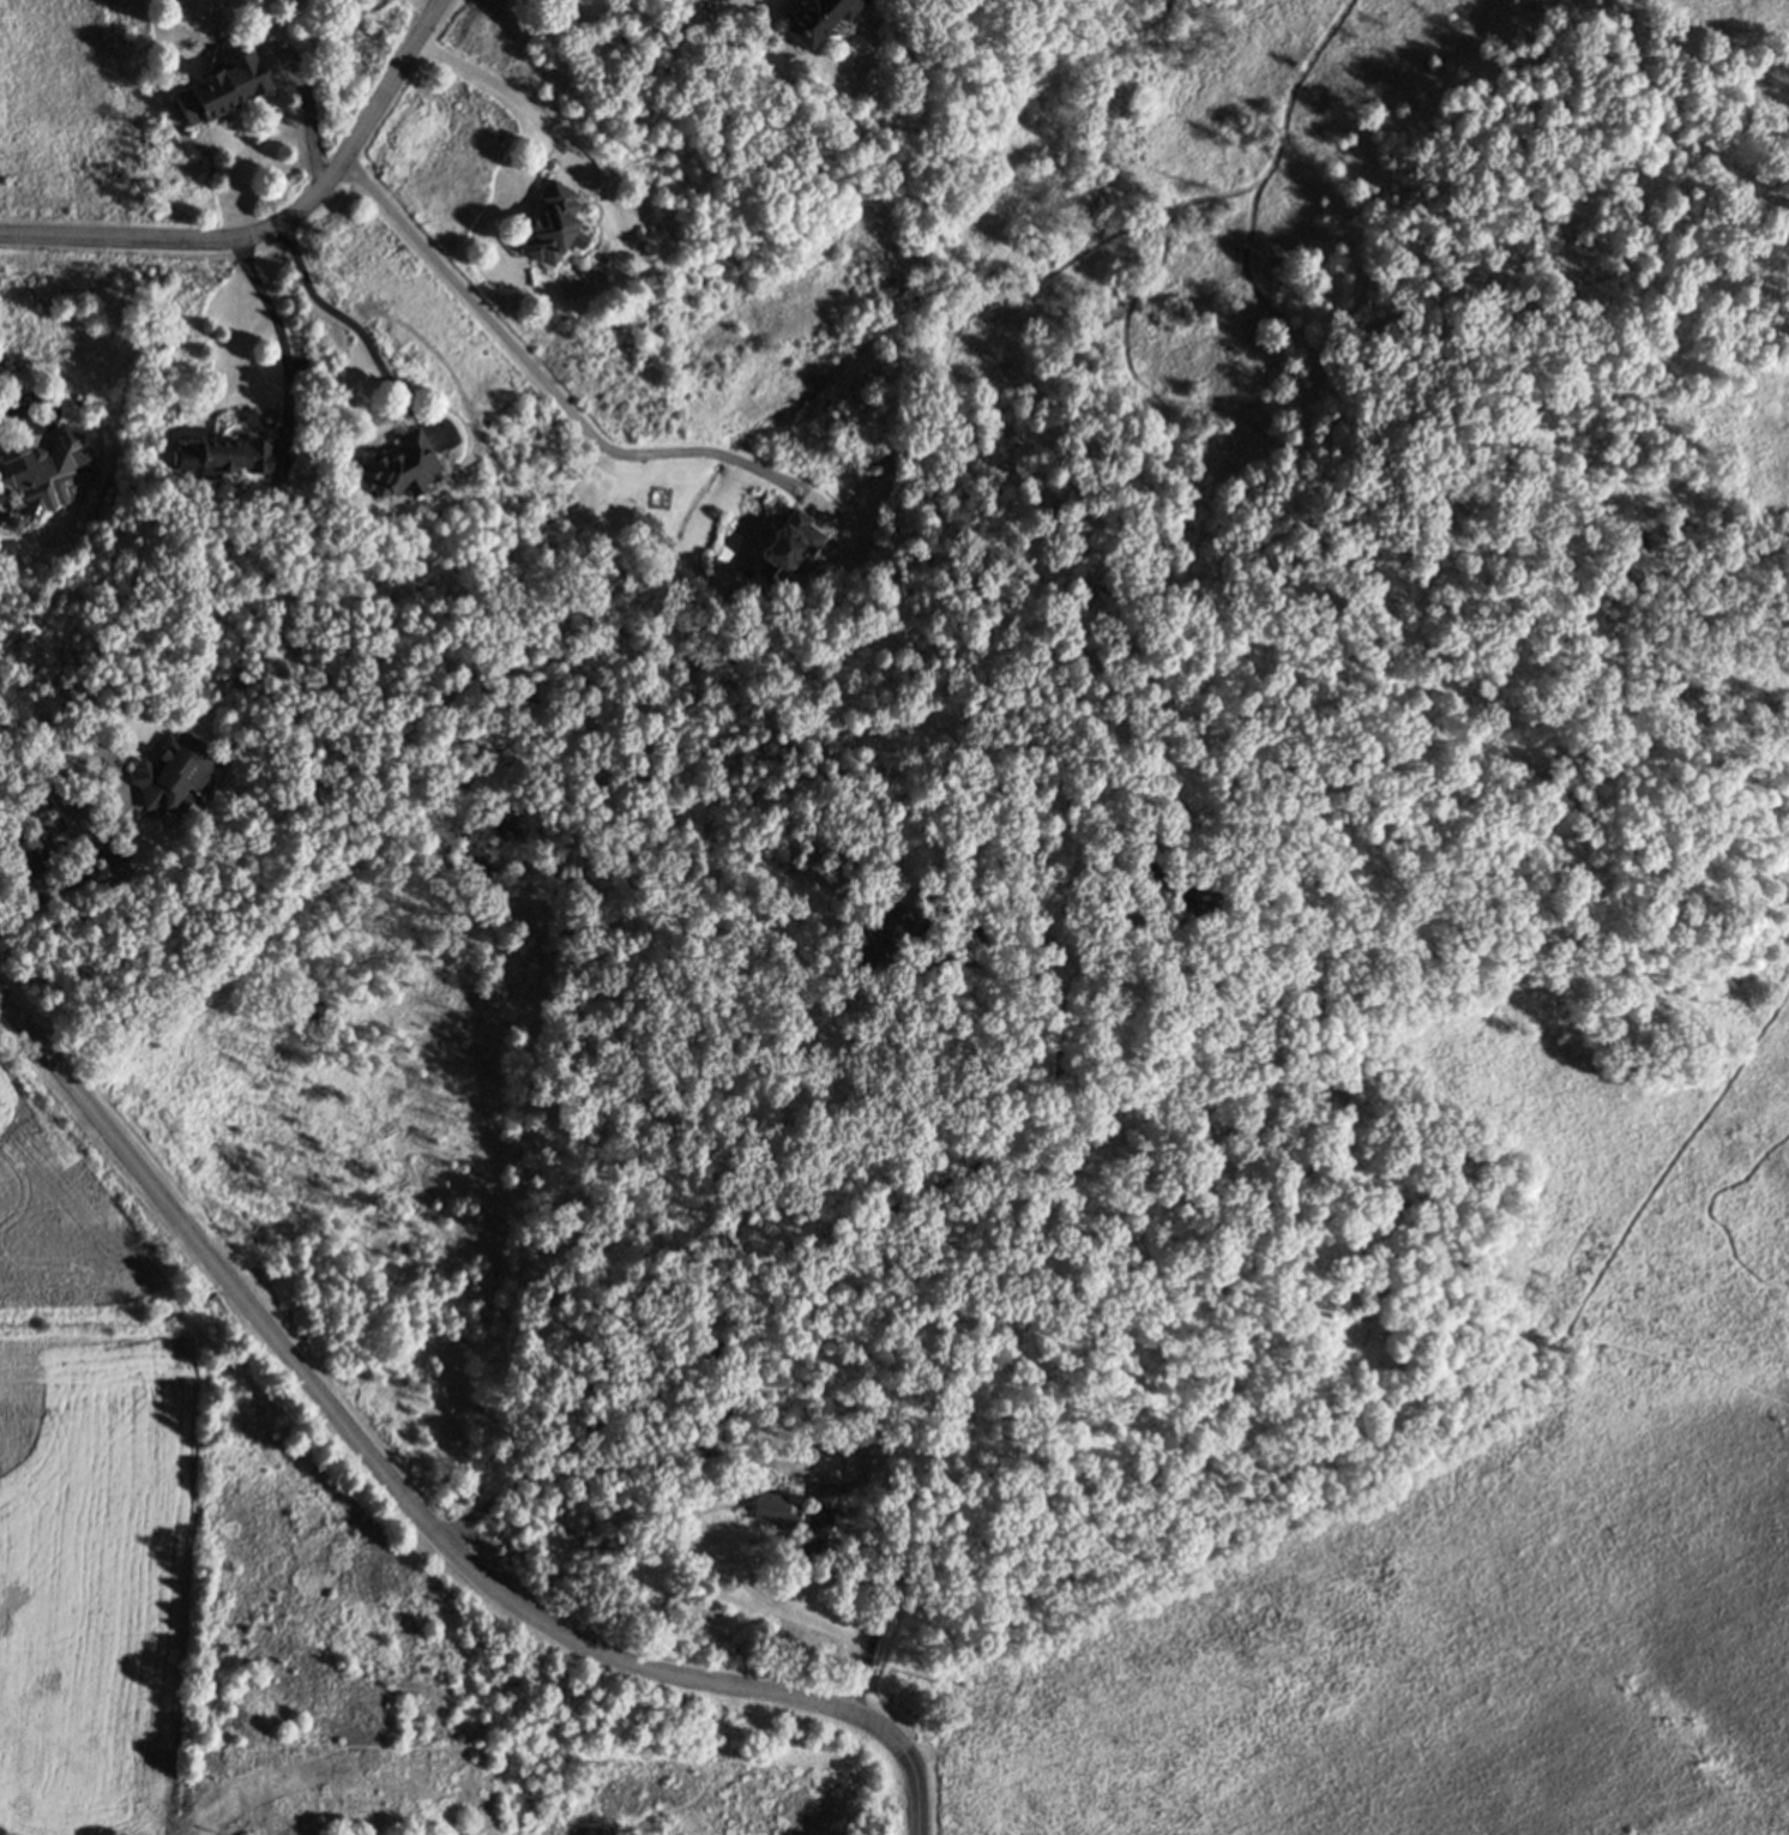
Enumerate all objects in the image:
building: (817, 18)
building: (222, 86)
road: (511, 95)
road: (312, 121)
road: (277, 224)
building: (553, 224)
road: (355, 327)
road: (284, 339)
road: (549, 390)
road: (46, 397)
road: (8, 407)
road: (1384, 408)
building: (234, 453)
building: (399, 467)
building: (40, 469)
building: (787, 546)
building: (217, 690)
building: (173, 772)
building: (29, 853)
road: (68, 873)
building: (1150, 888)
building: (1193, 902)
building: (878, 940)
road: (922, 951)
road: (1083, 965)
road: (802, 1286)
building: (718, 1421)
road: (409, 1506)
building: (776, 1506)
building: (820, 1518)
road: (883, 1613)

